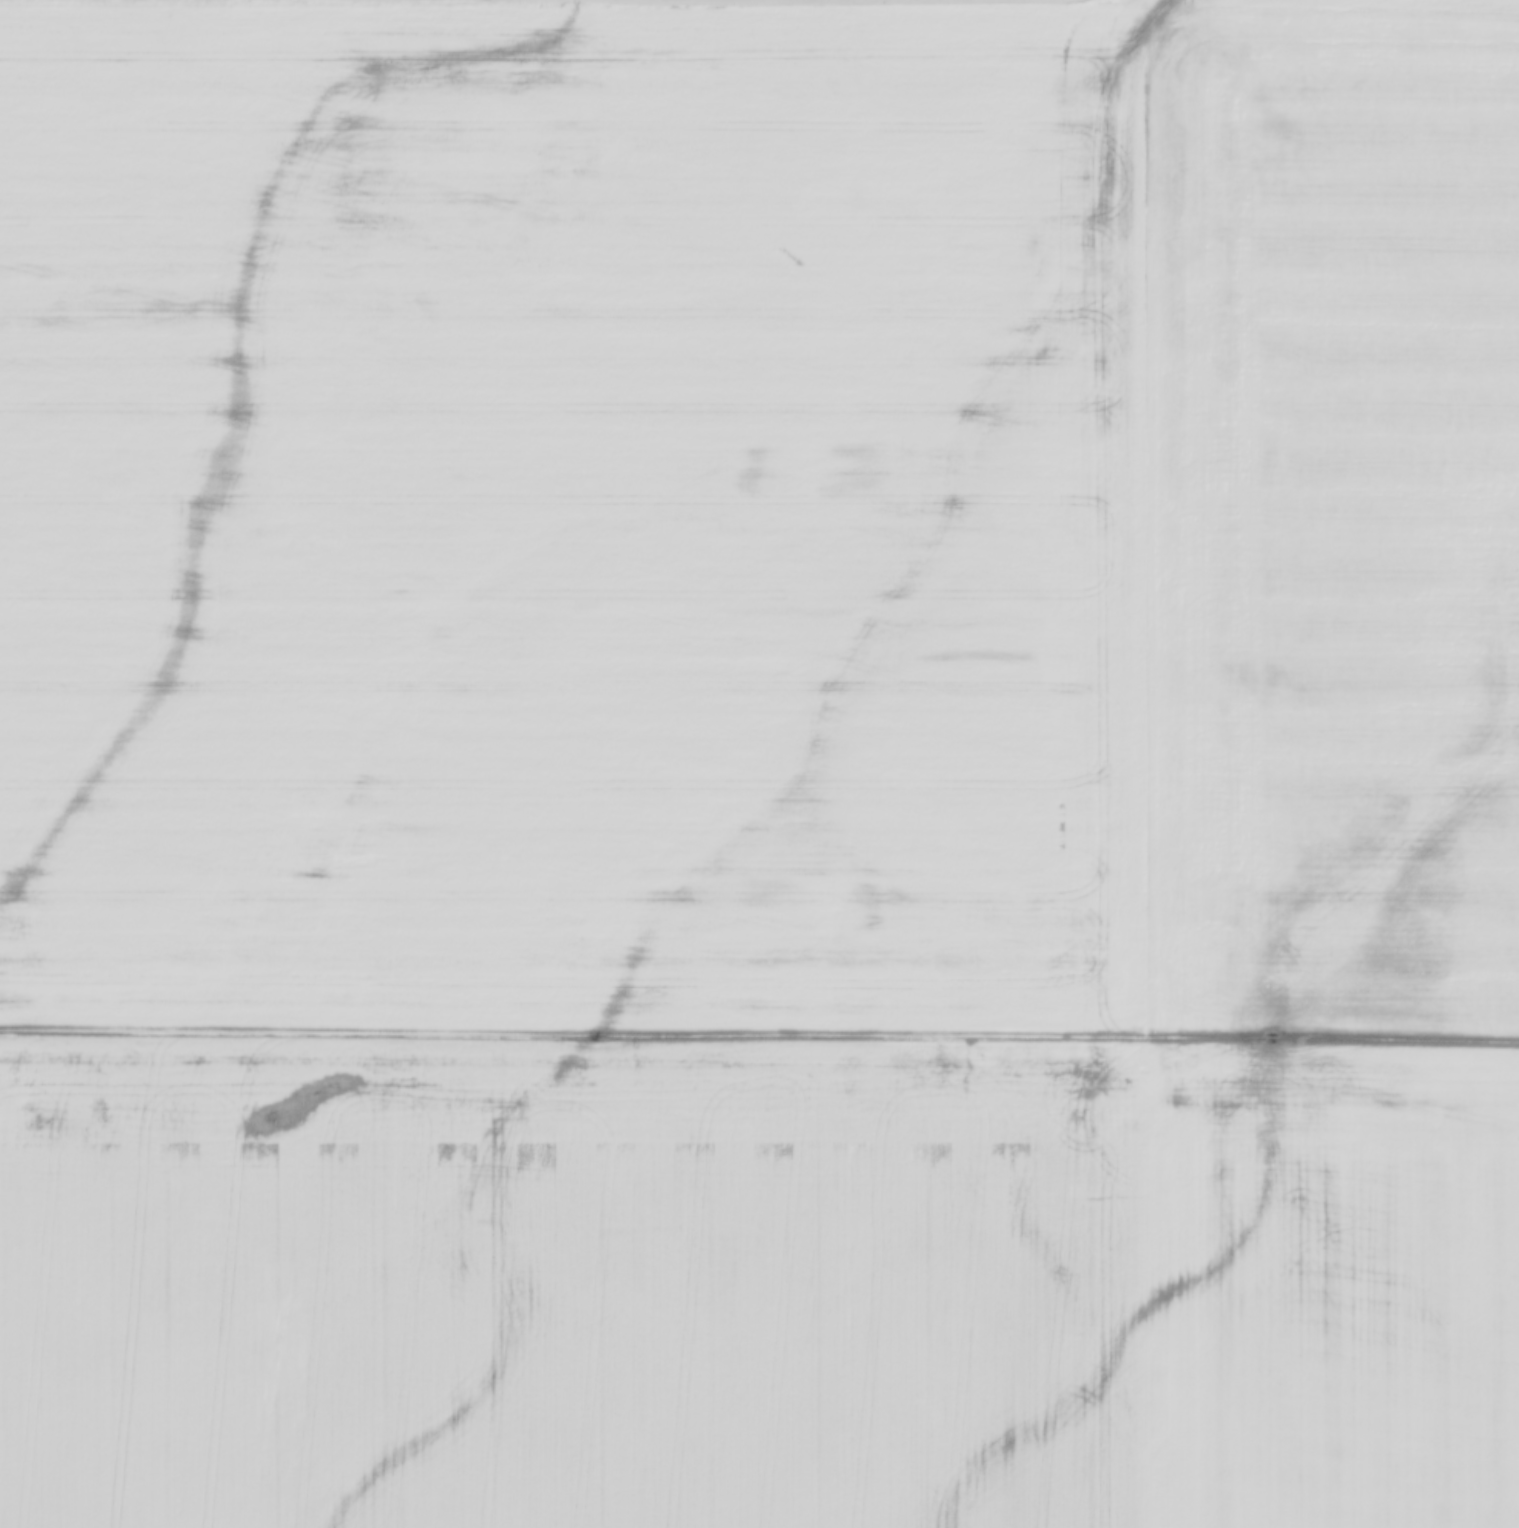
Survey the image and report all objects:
road: (759, 1027)

